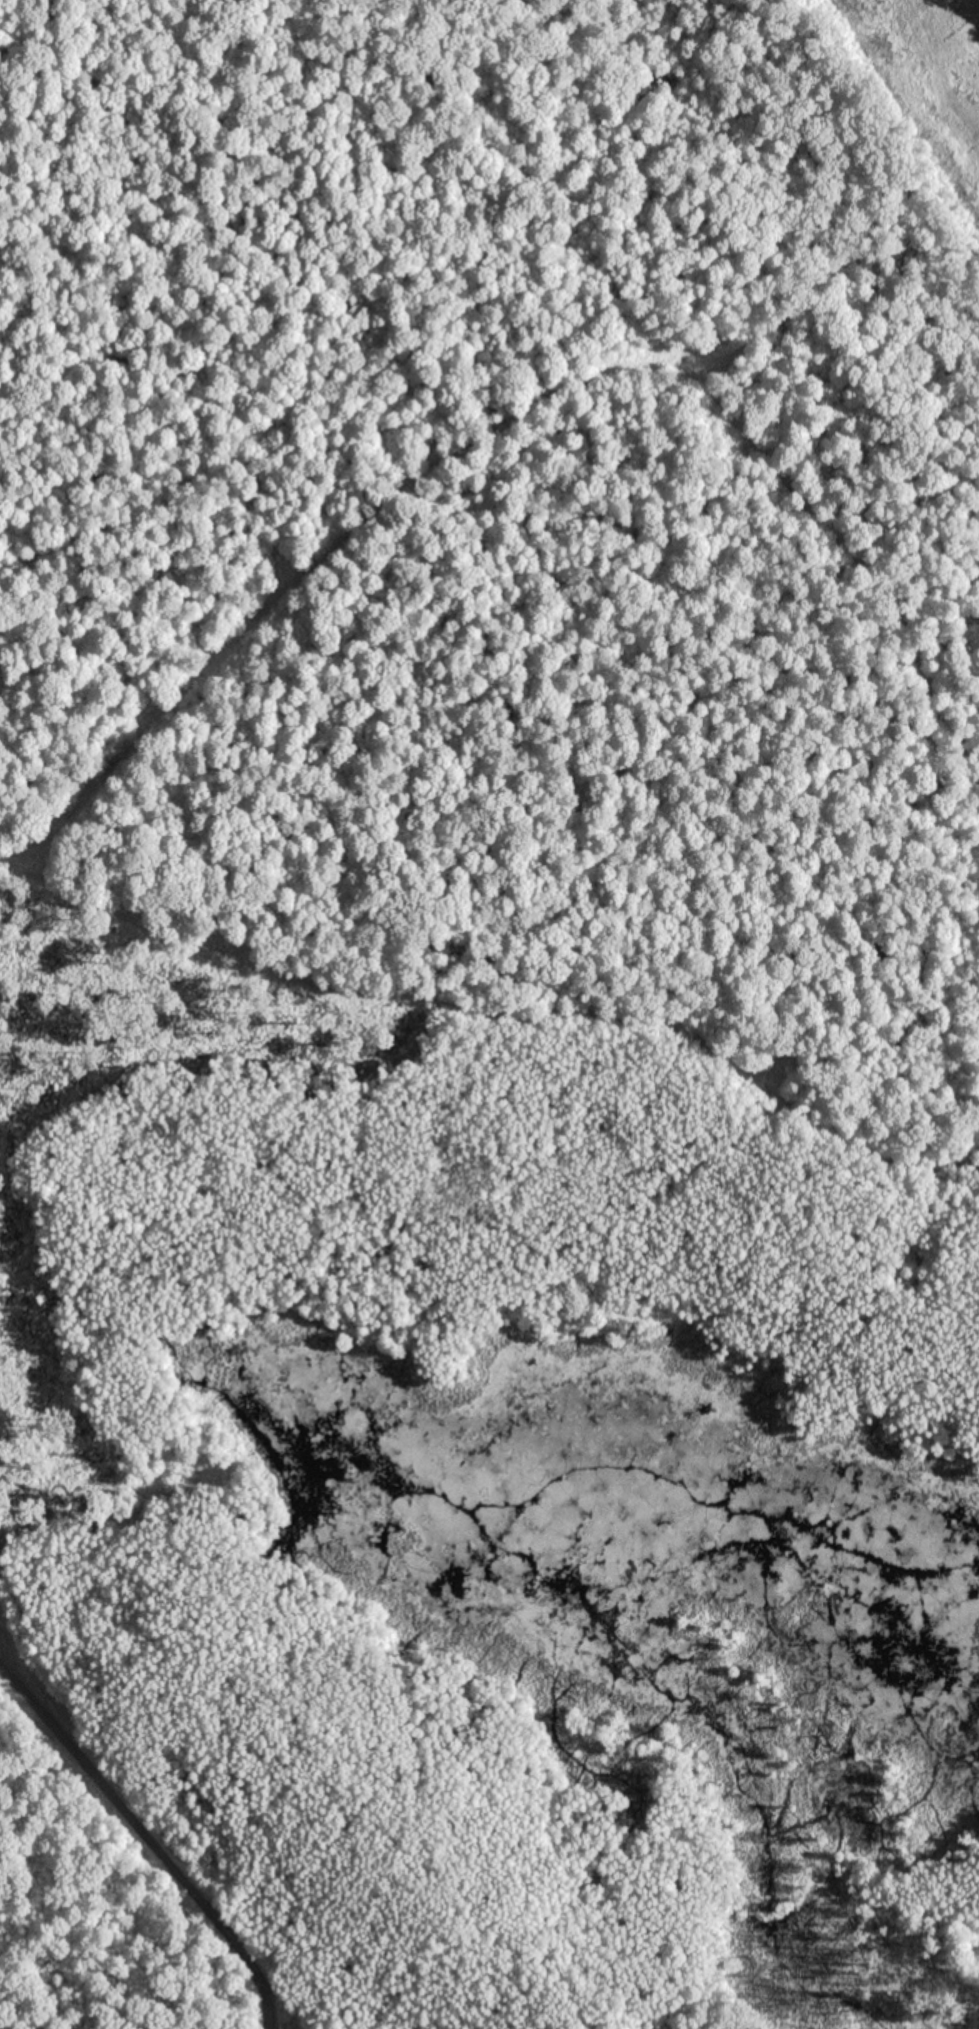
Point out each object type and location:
road: (149, 1838)

